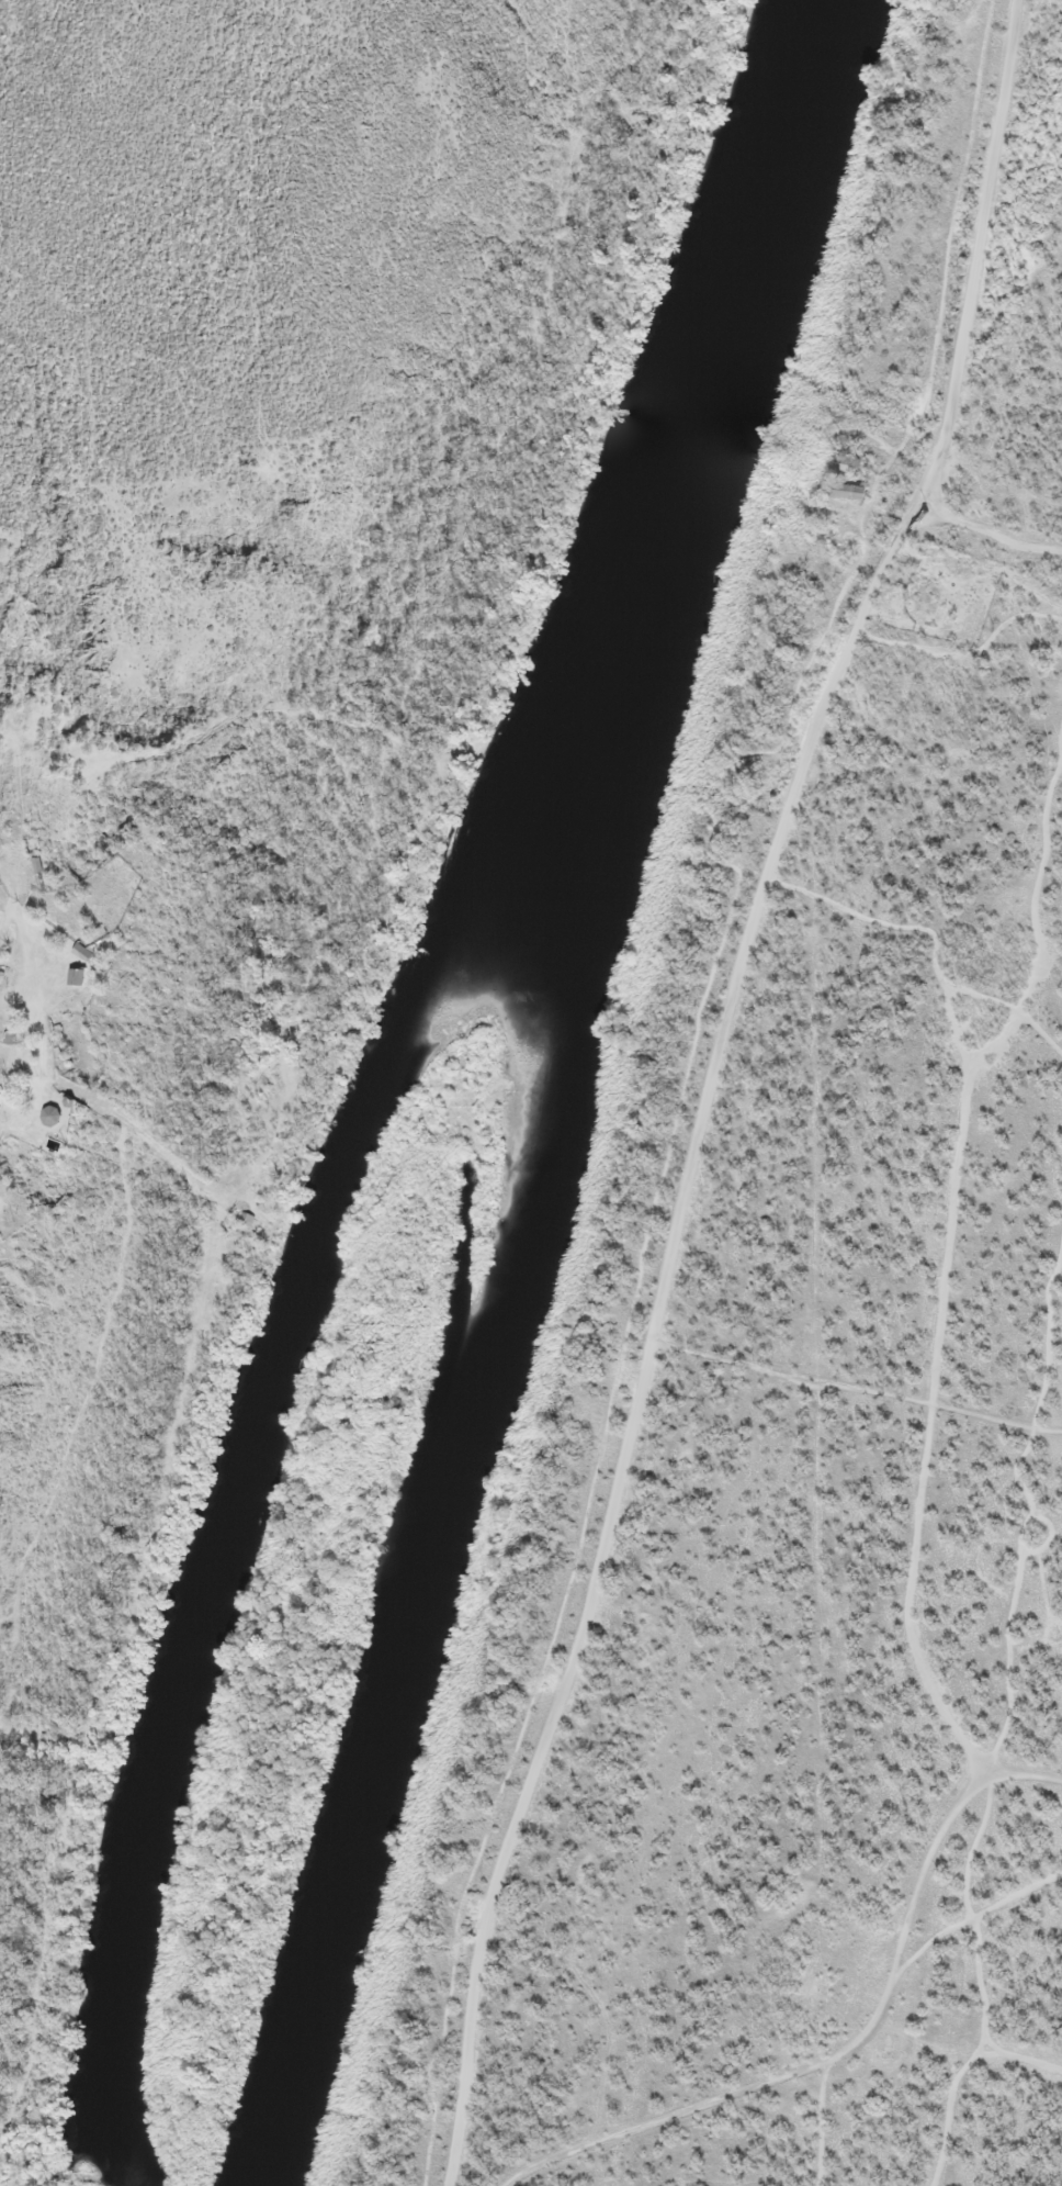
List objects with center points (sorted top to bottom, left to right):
building: (845, 459)
building: (849, 486)
road: (1013, 530)
road: (12, 908)
building: (78, 973)
river: (526, 1089)
building: (1, 1090)

